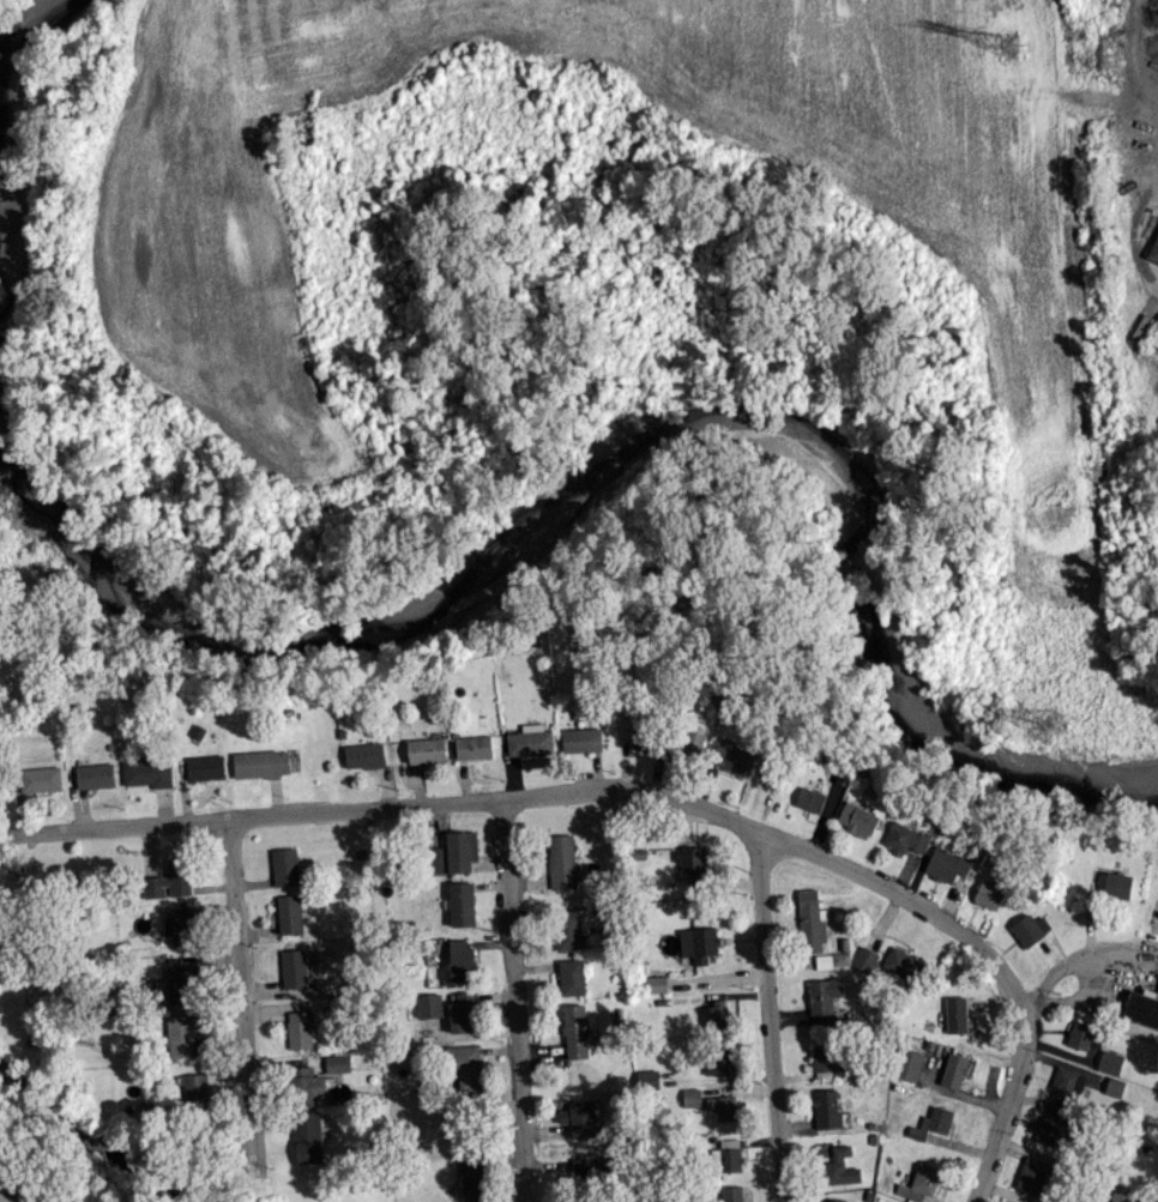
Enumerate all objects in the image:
power tower: (1006, 42)
building: (1153, 249)
building: (1154, 338)
power tower: (1047, 723)
building: (643, 737)
building: (581, 738)
building: (530, 739)
building: (692, 742)
building: (474, 745)
building: (426, 749)
building: (363, 754)
building: (735, 756)
building: (259, 762)
building: (205, 766)
building: (149, 768)
building: (95, 774)
building: (40, 778)
road: (554, 792)
building: (812, 798)
building: (858, 819)
building: (906, 838)
building: (453, 852)
building: (694, 856)
building: (561, 859)
building: (947, 864)
building: (284, 865)
building: (169, 878)
building: (1117, 884)
building: (989, 894)
building: (462, 902)
building: (289, 913)
building: (812, 920)
building: (183, 923)
building: (571, 928)
building: (1030, 928)
building: (700, 943)
building: (866, 958)
building: (460, 959)
building: (833, 959)
building: (903, 962)
building: (292, 967)
building: (572, 976)
building: (182, 981)
building: (657, 983)
road: (245, 992)
building: (825, 997)
road: (518, 999)
building: (428, 1004)
building: (1141, 1005)
building: (462, 1011)
building: (955, 1013)
building: (714, 1014)
road: (772, 1015)
building: (298, 1028)
building: (574, 1029)
building: (183, 1032)
building: (1080, 1033)
building: (827, 1057)
building: (717, 1061)
building: (1109, 1061)
building: (337, 1062)
building: (909, 1063)
building: (464, 1065)
building: (954, 1069)
building: (647, 1079)
building: (304, 1085)
building: (1066, 1086)
building: (1114, 1086)
building: (194, 1088)
building: (692, 1095)
building: (724, 1106)
road: (1008, 1106)
building: (827, 1107)
building: (581, 1116)
building: (931, 1122)
building: (1045, 1128)
building: (307, 1135)
building: (730, 1154)
building: (584, 1166)
building: (840, 1166)
building: (1031, 1173)
building: (475, 1179)
building: (921, 1182)
building: (732, 1194)
building: (1122, 1194)
building: (836, 1200)

